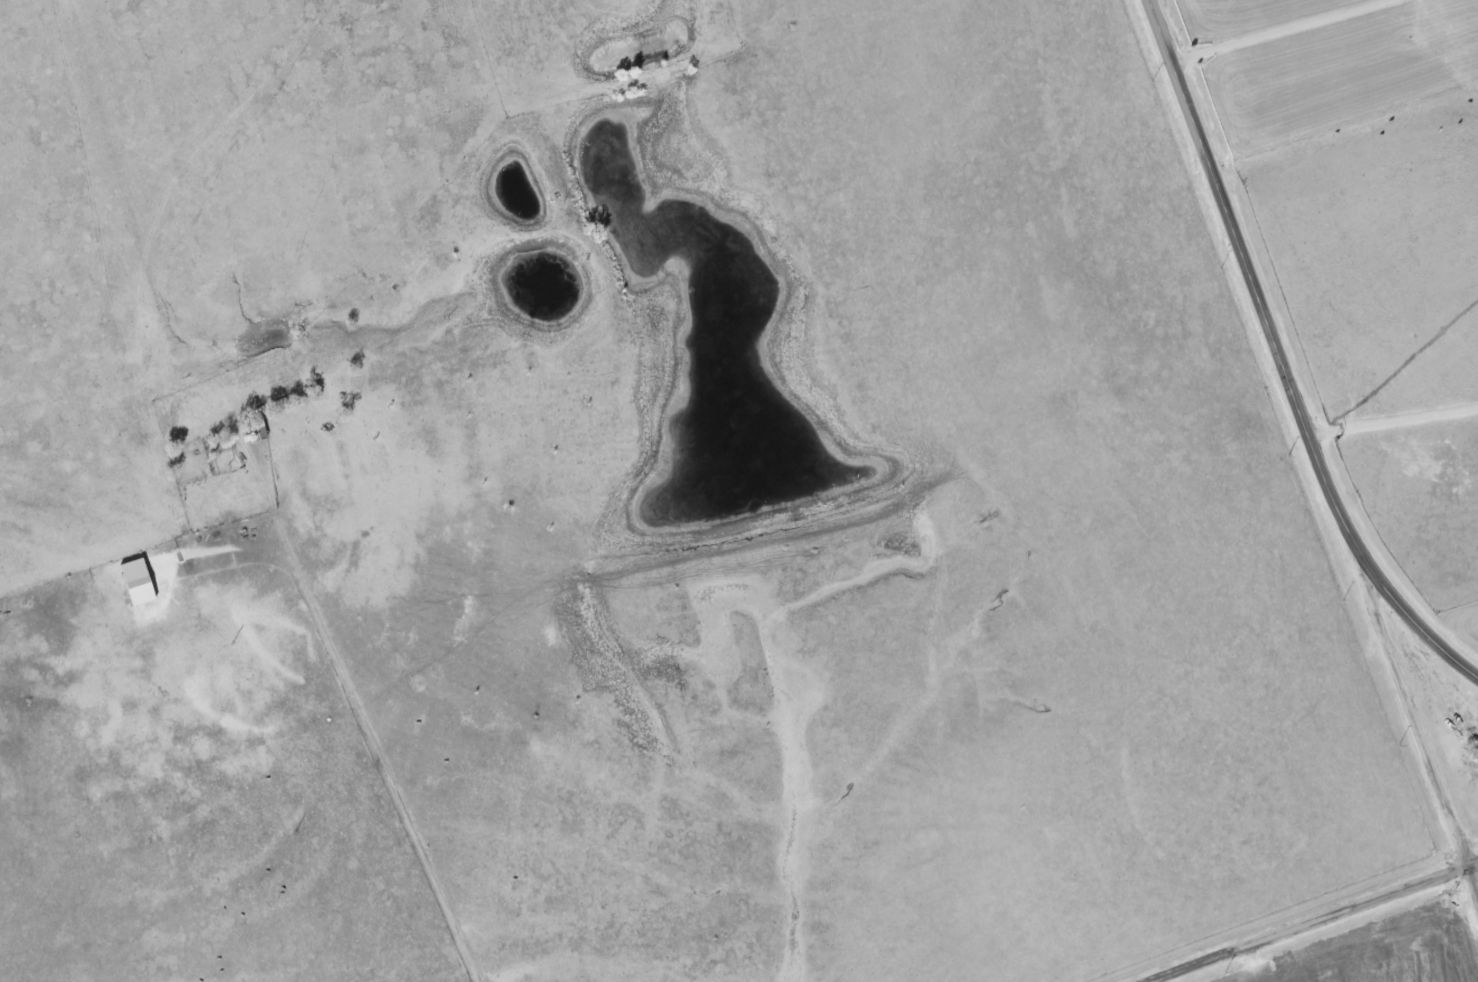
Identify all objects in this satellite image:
road: (1308, 37)
road: (1284, 357)
road: (1395, 420)
building: (138, 581)
road: (1416, 718)
road: (391, 719)
road: (1314, 922)

